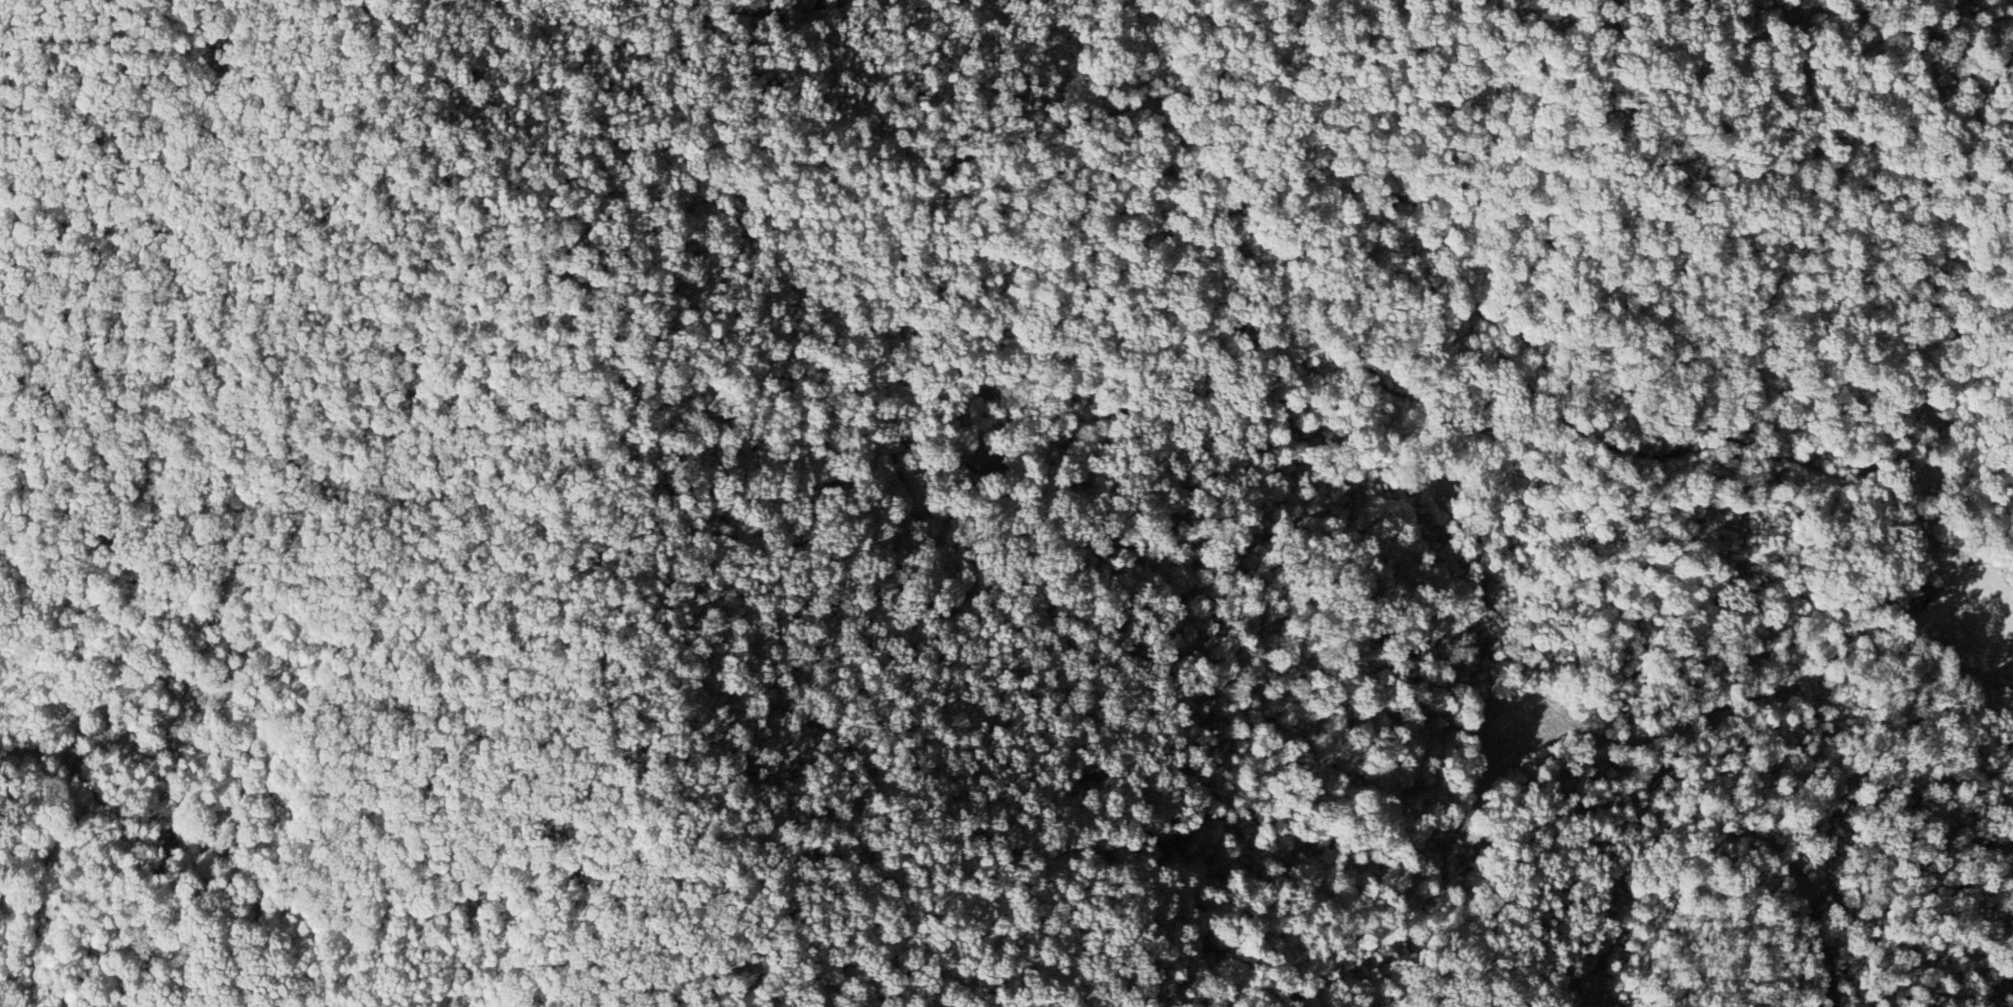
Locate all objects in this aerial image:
road: (2000, 25)

